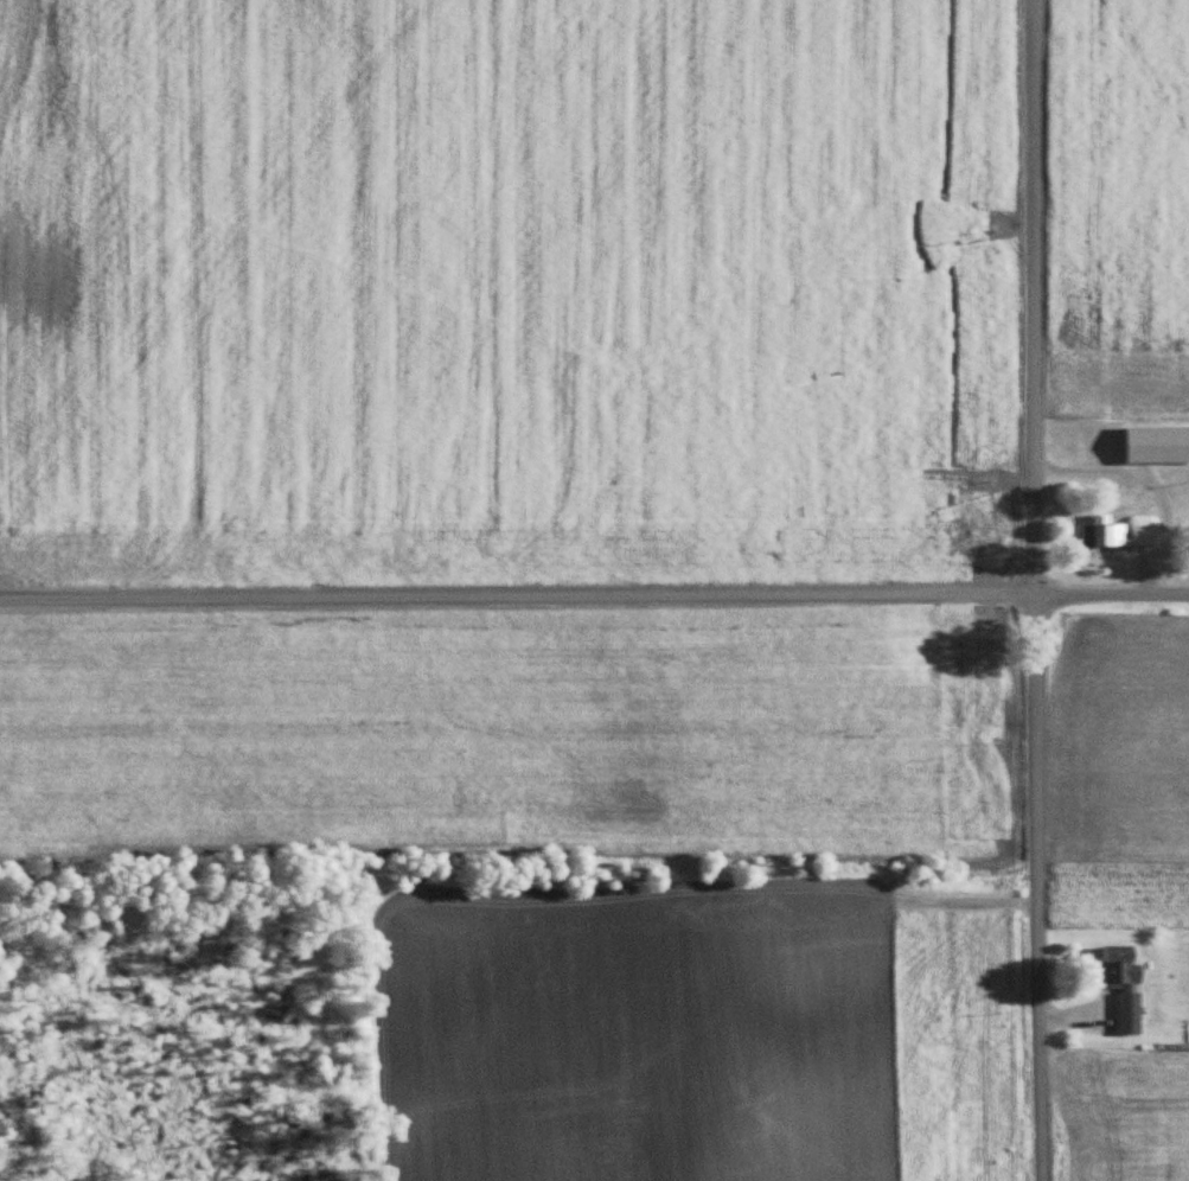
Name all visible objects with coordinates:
building: (1156, 445)
building: (1116, 534)
road: (1030, 590)
road: (594, 595)
building: (1125, 985)

